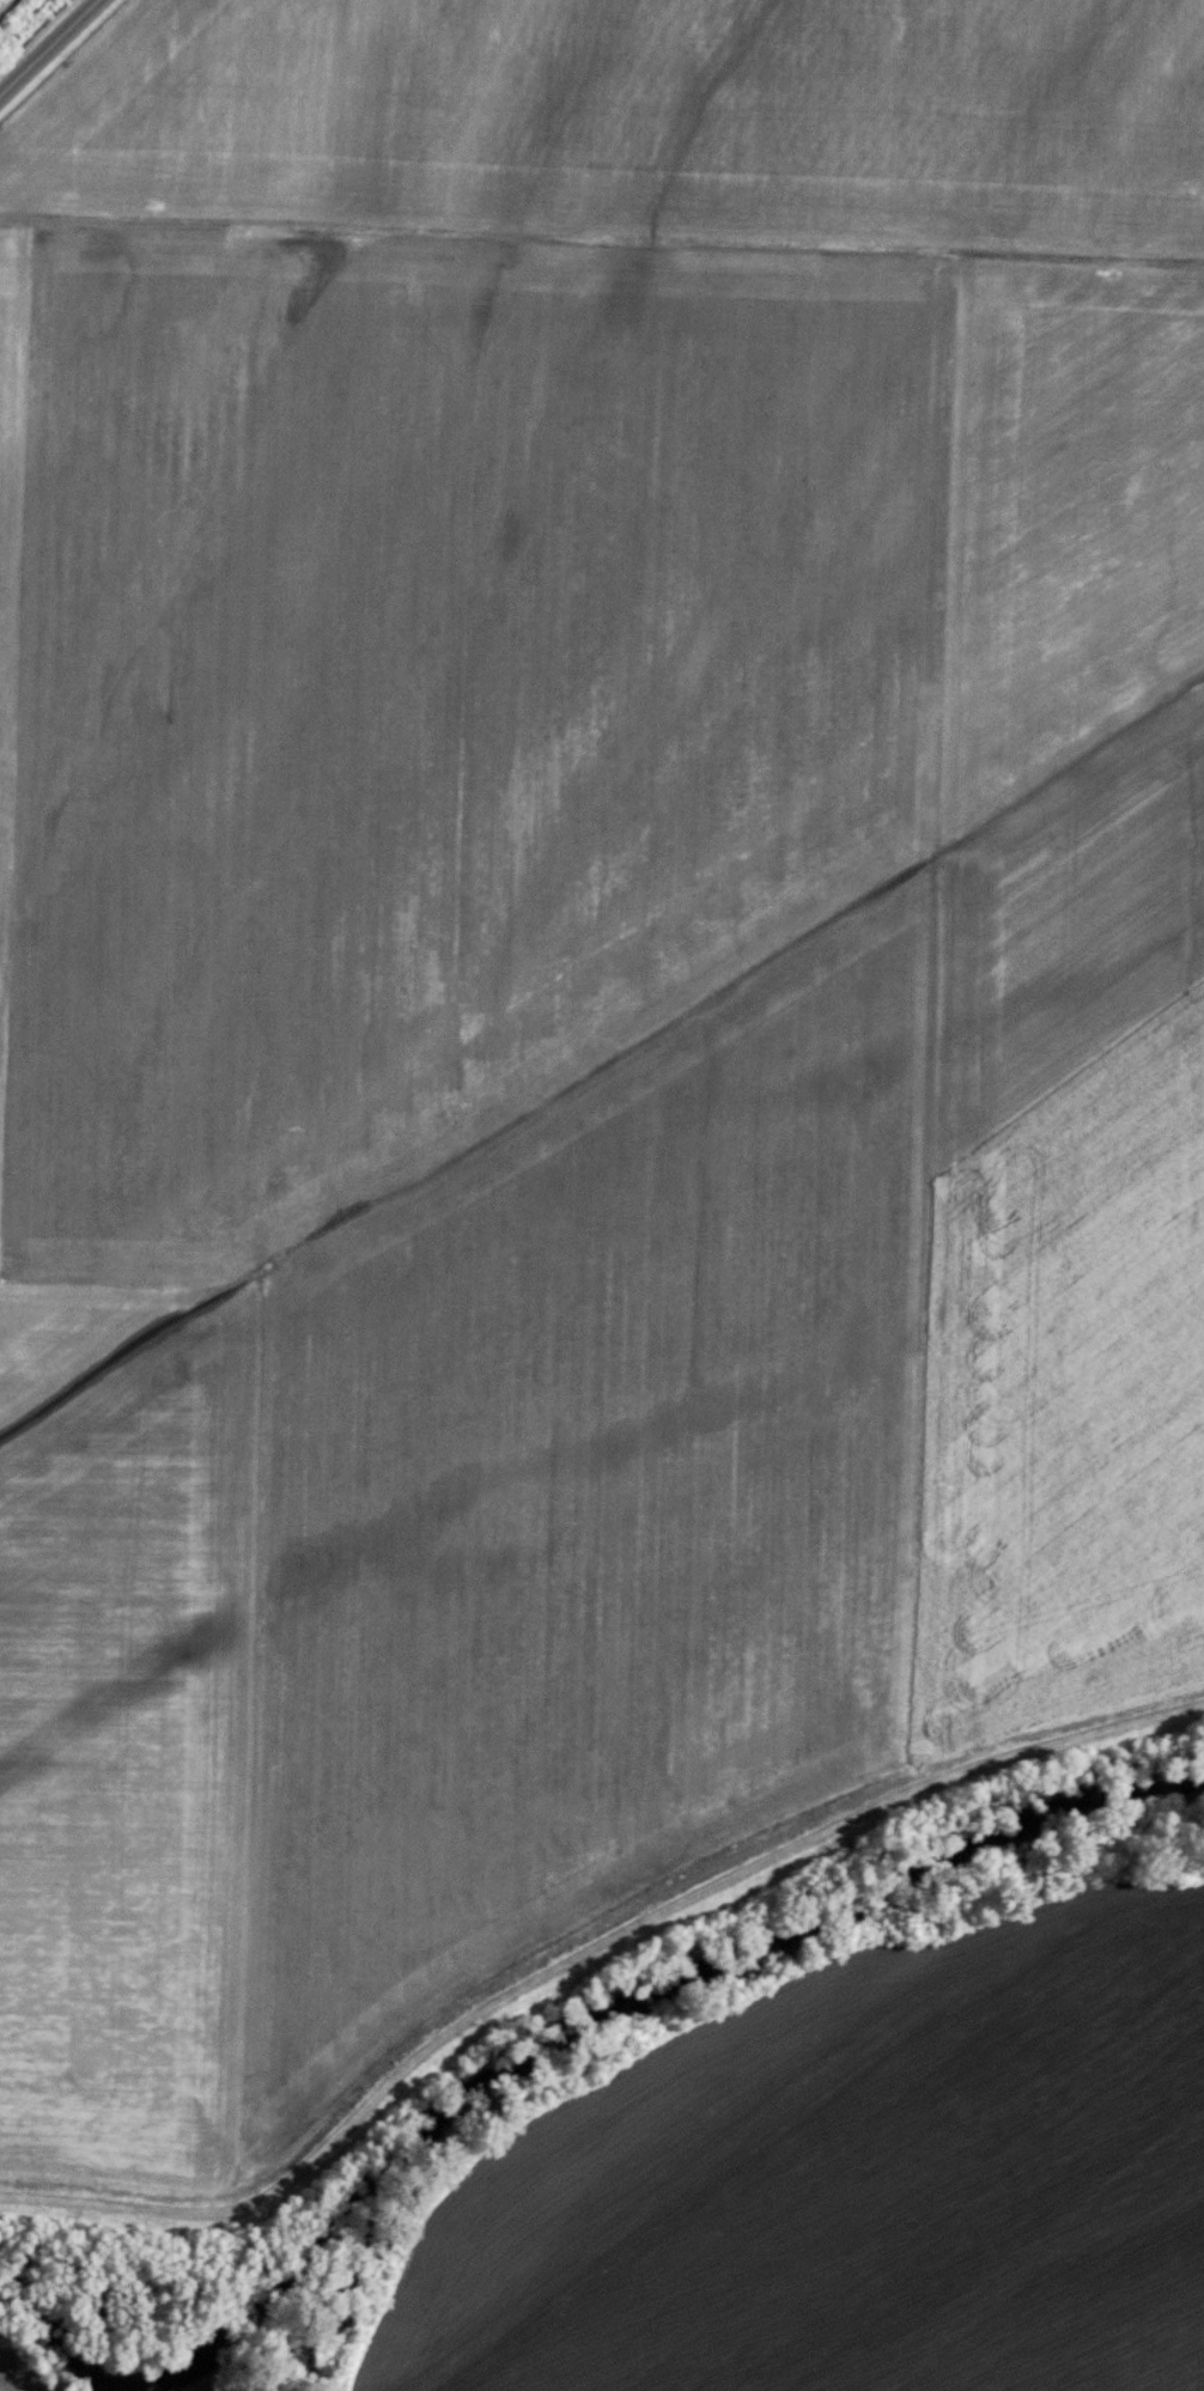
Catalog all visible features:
road: (1, 1)
road: (47, 47)

